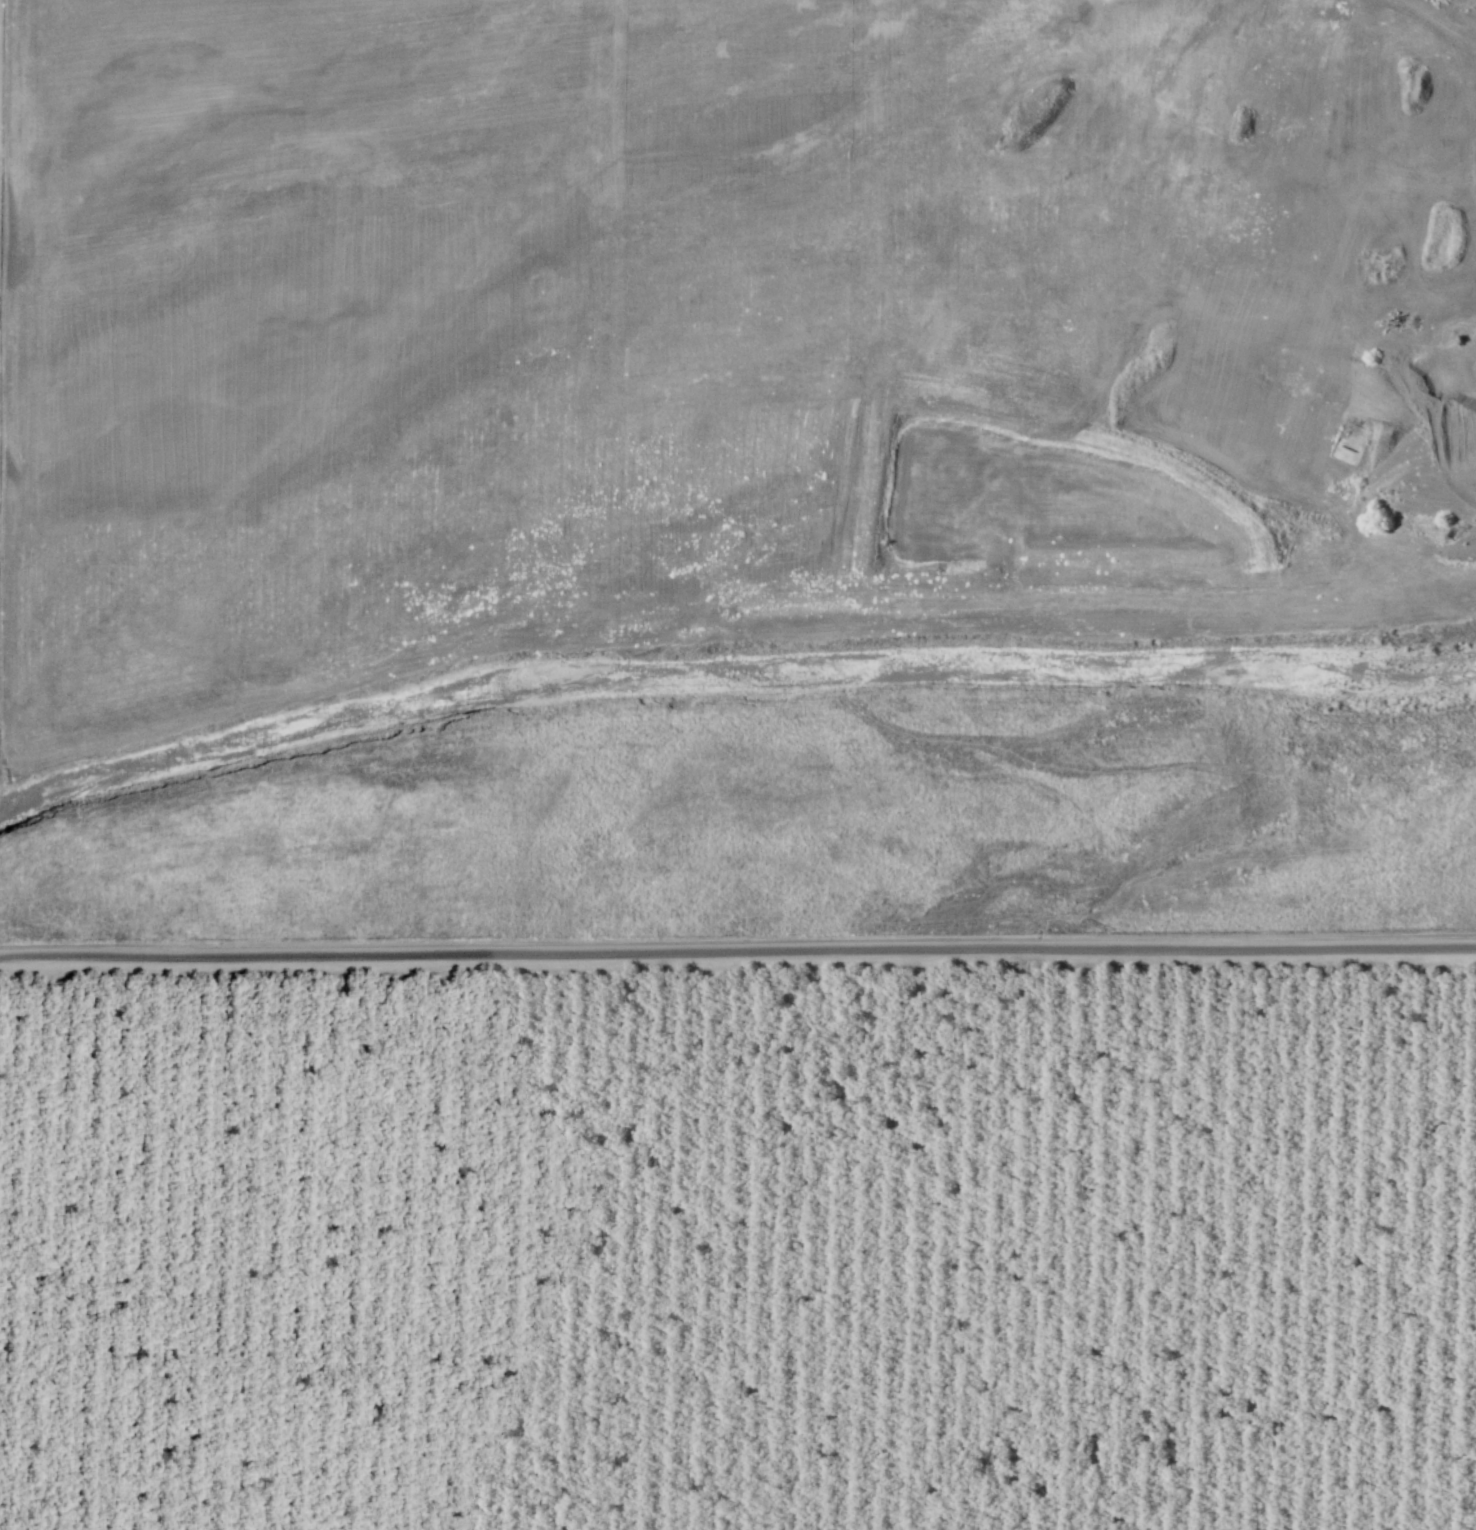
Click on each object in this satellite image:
road: (1442, 20)
road: (761, 89)
road: (737, 947)

